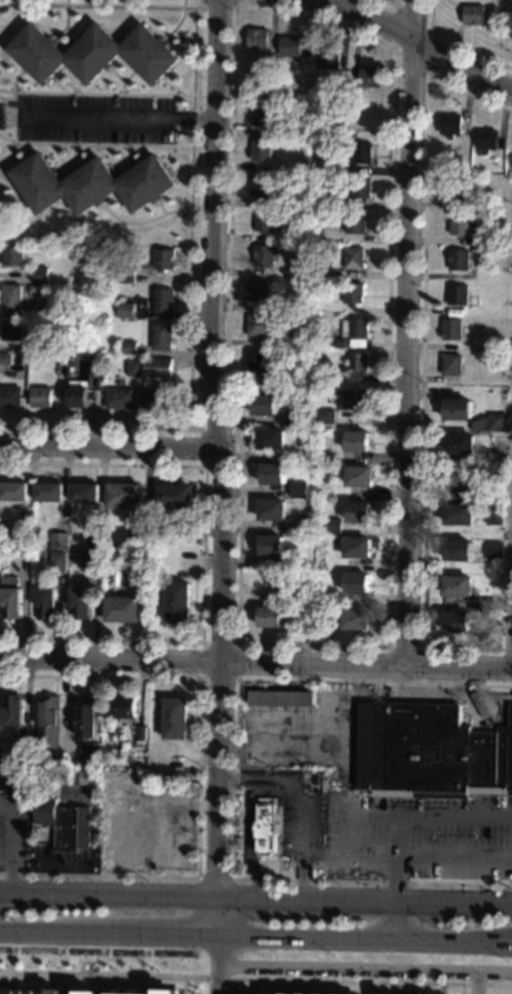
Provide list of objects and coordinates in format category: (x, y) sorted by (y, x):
road: (0, 1)
road: (391, 2)
road: (214, 6)
building: (473, 15)
road: (429, 25)
building: (257, 38)
road: (415, 42)
road: (458, 44)
building: (289, 46)
building: (92, 53)
building: (328, 59)
building: (369, 77)
road: (434, 83)
building: (351, 88)
road: (97, 93)
building: (351, 97)
building: (260, 115)
parking lot: (94, 118)
road: (120, 118)
building: (450, 124)
building: (486, 140)
road: (54, 142)
building: (259, 150)
building: (362, 153)
building: (91, 184)
building: (258, 185)
building: (361, 188)
building: (455, 188)
road: (12, 198)
road: (192, 218)
building: (263, 220)
road: (143, 221)
road: (7, 223)
building: (355, 223)
building: (459, 224)
building: (481, 249)
building: (12, 256)
building: (262, 256)
building: (354, 258)
building: (163, 259)
building: (458, 259)
building: (40, 274)
building: (125, 275)
building: (256, 290)
building: (353, 293)
building: (457, 294)
building: (11, 297)
building: (162, 299)
building: (51, 309)
building: (125, 310)
building: (315, 324)
building: (255, 326)
building: (451, 329)
building: (11, 330)
building: (358, 332)
road: (406, 333)
building: (161, 336)
building: (84, 338)
building: (340, 342)
building: (270, 343)
building: (34, 346)
building: (129, 348)
road: (421, 358)
building: (5, 359)
building: (254, 361)
building: (357, 363)
building: (163, 364)
building: (450, 364)
building: (98, 366)
building: (134, 367)
building: (10, 396)
building: (41, 397)
building: (78, 397)
building: (119, 398)
building: (157, 399)
building: (265, 399)
building: (352, 399)
building: (456, 408)
building: (325, 416)
building: (294, 418)
building: (489, 422)
building: (270, 439)
building: (356, 441)
building: (459, 443)
road: (111, 445)
building: (323, 458)
building: (272, 473)
building: (358, 476)
building: (459, 478)
building: (297, 490)
building: (14, 491)
building: (49, 492)
building: (84, 492)
building: (174, 495)
building: (453, 495)
building: (125, 496)
road: (223, 496)
building: (271, 509)
building: (358, 512)
building: (458, 514)
building: (493, 516)
building: (332, 526)
building: (24, 540)
building: (58, 540)
building: (96, 541)
building: (271, 545)
building: (129, 546)
building: (357, 547)
building: (457, 550)
building: (494, 550)
building: (5, 552)
road: (202, 552)
building: (54, 559)
building: (90, 562)
building: (270, 581)
building: (124, 582)
building: (355, 583)
building: (456, 585)
building: (10, 596)
building: (299, 596)
building: (177, 602)
building: (46, 603)
building: (82, 604)
building: (122, 609)
road: (238, 611)
building: (331, 616)
building: (269, 617)
building: (355, 618)
building: (455, 621)
road: (511, 635)
road: (421, 647)
road: (110, 659)
road: (366, 665)
road: (200, 679)
building: (281, 698)
building: (122, 708)
building: (12, 711)
building: (338, 712)
building: (87, 718)
building: (176, 718)
building: (48, 722)
building: (141, 733)
building: (23, 746)
building: (138, 747)
building: (429, 752)
building: (89, 755)
building: (106, 762)
road: (198, 776)
building: (85, 777)
building: (11, 779)
road: (235, 781)
road: (302, 796)
road: (362, 815)
road: (412, 816)
road: (105, 817)
road: (247, 820)
building: (63, 823)
building: (265, 826)
road: (170, 827)
parking lot: (16, 834)
parking lot: (416, 835)
building: (128, 840)
road: (12, 845)
building: (91, 854)
road: (419, 855)
road: (50, 869)
road: (215, 878)
road: (255, 898)
road: (397, 922)
road: (256, 937)
road: (344, 970)
road: (494, 973)
road: (97, 974)
road: (213, 978)
road: (364, 981)
road: (476, 983)
road: (69, 984)
road: (193, 985)
road: (375, 988)
building: (30, 989)
building: (91, 992)
building: (159, 992)
building: (276, 993)

